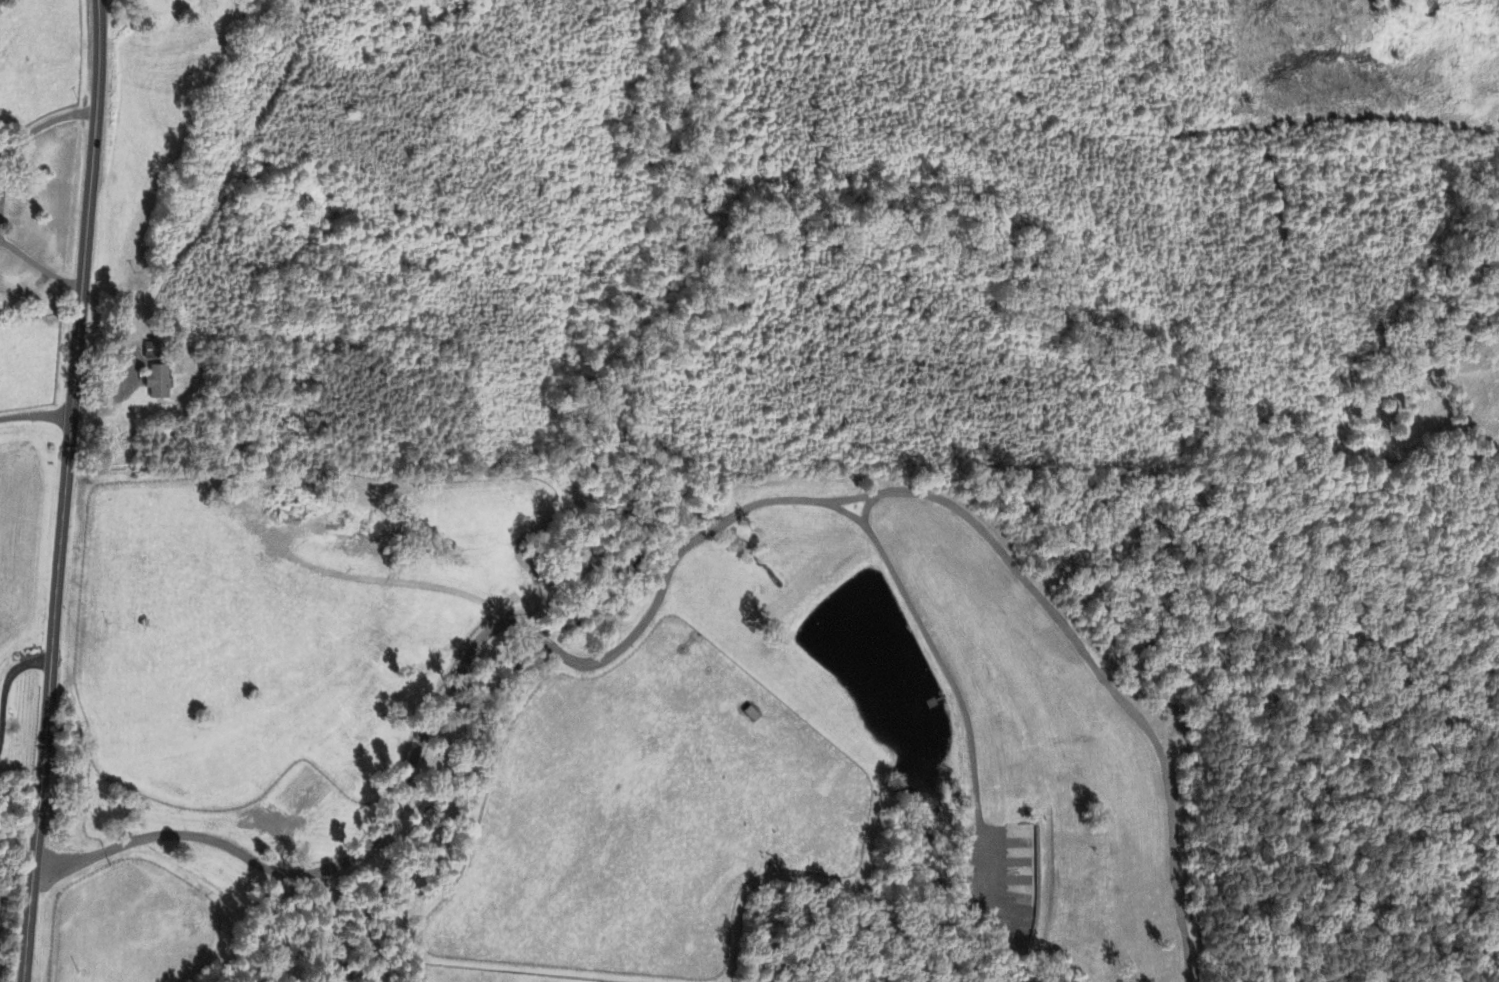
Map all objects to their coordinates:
road: (2, 194)
building: (155, 383)
road: (37, 414)
road: (67, 491)
road: (6, 686)
building: (1021, 882)

